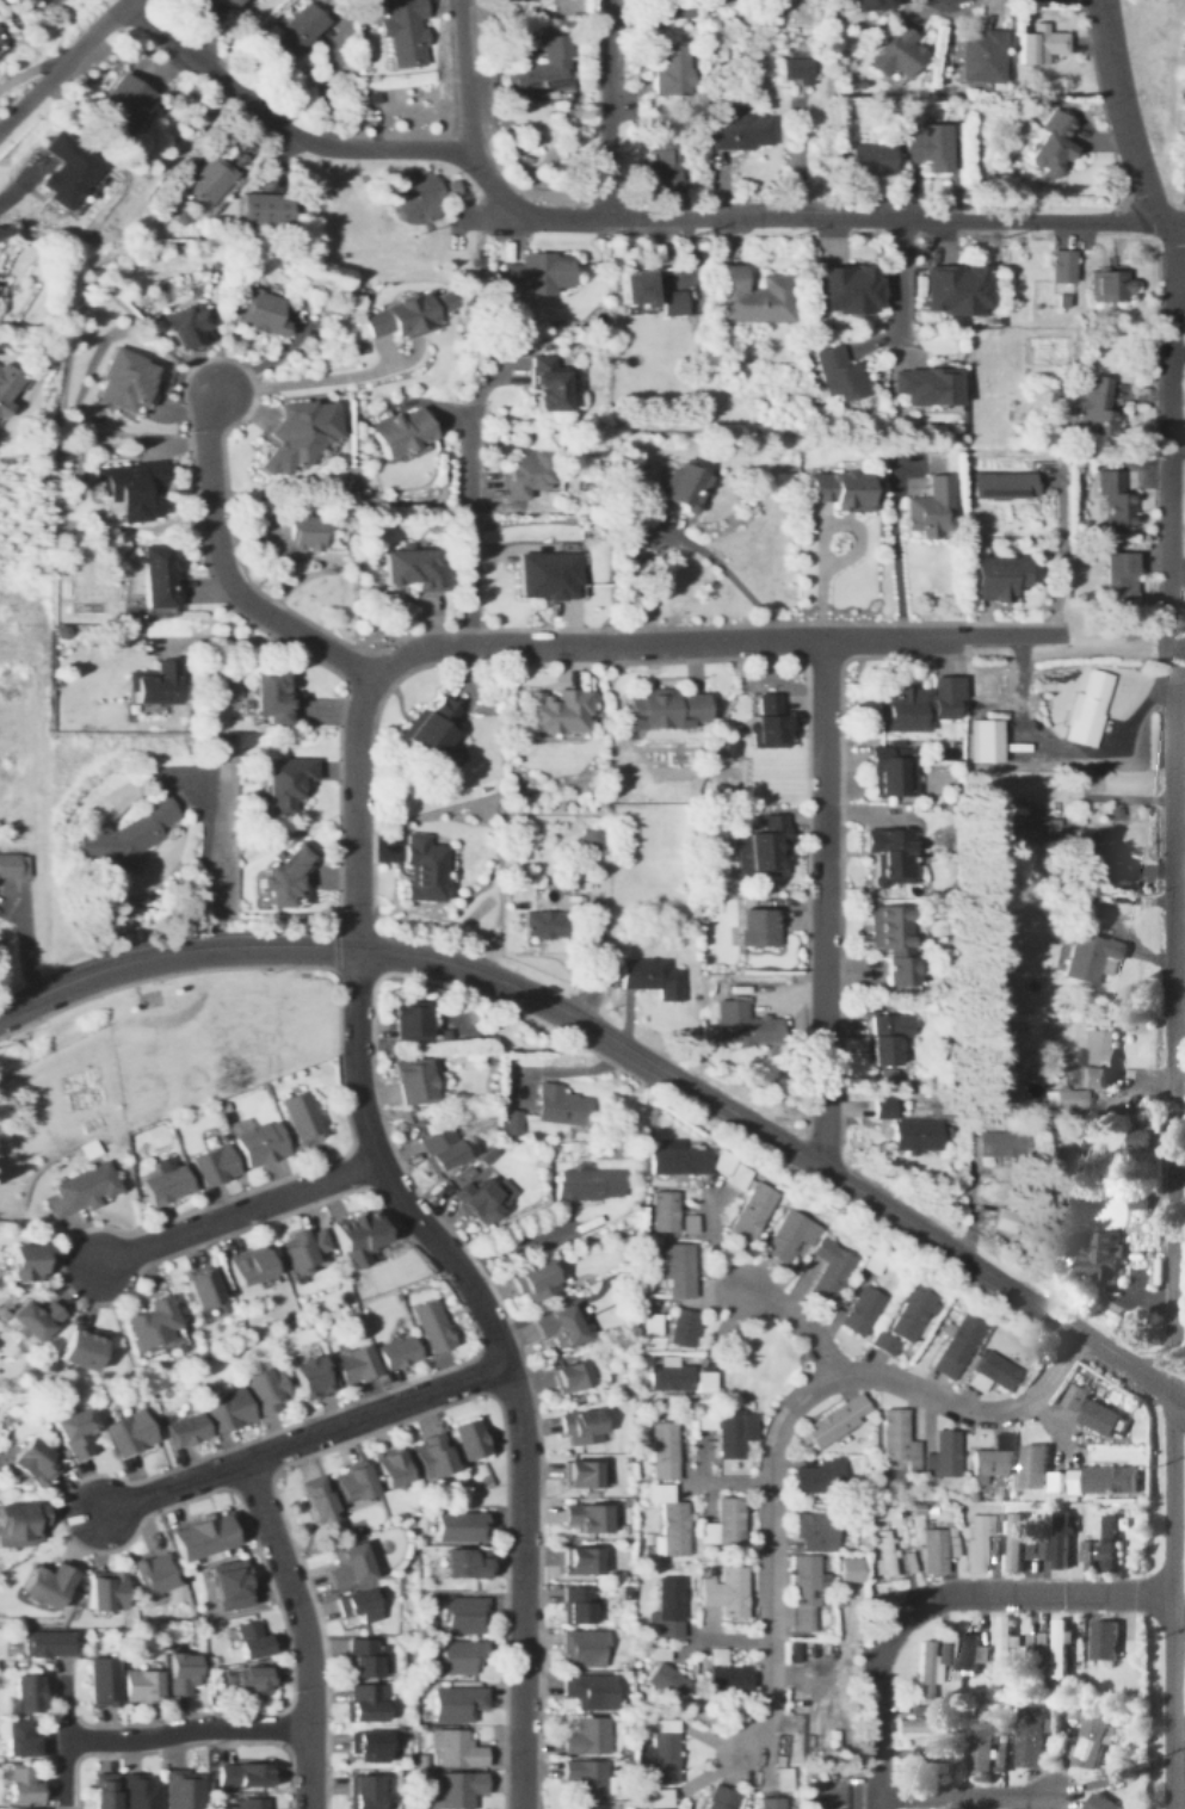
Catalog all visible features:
building: (536, 0)
building: (525, 1)
building: (226, 2)
building: (710, 2)
building: (872, 4)
building: (675, 10)
building: (295, 31)
building: (1, 33)
building: (403, 33)
building: (1041, 48)
building: (896, 55)
building: (982, 58)
road: (68, 64)
building: (794, 69)
building: (544, 72)
building: (672, 72)
road: (467, 79)
building: (119, 103)
road: (607, 110)
building: (742, 130)
building: (1050, 147)
building: (930, 148)
building: (871, 160)
building: (662, 167)
building: (64, 172)
building: (208, 183)
building: (420, 193)
building: (265, 211)
road: (609, 218)
road: (1173, 223)
building: (1062, 266)
building: (536, 274)
building: (1110, 288)
building: (632, 289)
road: (899, 289)
building: (843, 291)
building: (953, 291)
building: (752, 298)
building: (672, 303)
building: (258, 313)
building: (407, 316)
building: (183, 328)
building: (837, 376)
road: (309, 379)
building: (123, 382)
building: (6, 387)
building: (544, 387)
building: (924, 388)
building: (1093, 407)
building: (295, 433)
building: (399, 433)
building: (524, 475)
building: (993, 486)
building: (684, 488)
building: (128, 493)
building: (838, 493)
building: (1113, 501)
building: (927, 512)
road: (473, 527)
road: (821, 538)
building: (294, 539)
building: (331, 542)
road: (1062, 554)
road: (897, 562)
building: (411, 572)
road: (224, 573)
road: (729, 576)
building: (1117, 578)
building: (156, 579)
building: (544, 579)
building: (993, 581)
road: (232, 640)
road: (704, 643)
road: (1107, 653)
road: (1178, 662)
building: (155, 687)
building: (266, 698)
building: (909, 710)
building: (1086, 710)
building: (662, 711)
building: (554, 715)
building: (765, 722)
building: (428, 731)
building: (986, 743)
road: (1064, 747)
building: (887, 773)
building: (283, 784)
road: (356, 813)
building: (1030, 829)
building: (593, 836)
building: (126, 838)
building: (766, 850)
building: (888, 857)
building: (1099, 858)
building: (8, 866)
road: (206, 866)
building: (420, 871)
building: (283, 882)
road: (1172, 899)
road: (825, 904)
building: (553, 926)
building: (758, 930)
building: (891, 943)
building: (1090, 957)
building: (649, 978)
building: (408, 1020)
building: (743, 1025)
park: (210, 1037)
building: (881, 1041)
road: (627, 1048)
building: (1088, 1070)
building: (413, 1081)
building: (885, 1104)
building: (558, 1106)
building: (298, 1118)
building: (510, 1123)
building: (914, 1136)
building: (1140, 1137)
building: (257, 1144)
building: (1000, 1144)
building: (439, 1147)
building: (678, 1159)
building: (210, 1166)
building: (730, 1169)
building: (162, 1185)
building: (586, 1185)
building: (79, 1188)
building: (482, 1198)
building: (752, 1211)
road: (237, 1212)
building: (662, 1212)
building: (1004, 1220)
building: (687, 1224)
building: (788, 1235)
building: (353, 1236)
building: (301, 1251)
building: (1099, 1255)
building: (21, 1261)
building: (872, 1262)
building: (248, 1267)
building: (677, 1268)
building: (828, 1268)
building: (535, 1280)
building: (199, 1289)
road: (753, 1295)
building: (860, 1310)
building: (906, 1317)
building: (32, 1319)
building: (150, 1322)
building: (650, 1325)
building: (430, 1326)
building: (556, 1326)
building: (681, 1328)
building: (956, 1346)
building: (79, 1347)
building: (395, 1353)
road: (502, 1359)
building: (351, 1365)
building: (992, 1372)
building: (308, 1377)
building: (569, 1377)
building: (677, 1378)
building: (264, 1390)
building: (223, 1409)
building: (1091, 1412)
road: (790, 1414)
building: (705, 1420)
building: (834, 1421)
building: (581, 1427)
building: (181, 1430)
building: (73, 1432)
building: (733, 1432)
building: (125, 1433)
building: (896, 1439)
building: (467, 1440)
road: (302, 1441)
building: (664, 1451)
building: (940, 1455)
building: (430, 1456)
building: (992, 1457)
building: (31, 1462)
building: (1033, 1467)
building: (389, 1469)
building: (580, 1475)
building: (817, 1477)
building: (1103, 1481)
building: (350, 1484)
building: (314, 1499)
building: (584, 1518)
building: (667, 1520)
building: (721, 1524)
building: (20, 1525)
building: (458, 1527)
building: (814, 1531)
building: (199, 1537)
building: (1014, 1543)
building: (1056, 1543)
building: (975, 1545)
building: (1105, 1545)
building: (932, 1551)
building: (883, 1554)
building: (580, 1561)
building: (463, 1563)
building: (347, 1566)
building: (153, 1574)
building: (847, 1579)
building: (43, 1583)
building: (228, 1585)
building: (103, 1592)
building: (724, 1593)
building: (803, 1594)
road: (937, 1600)
building: (359, 1605)
building: (575, 1606)
building: (667, 1607)
building: (463, 1616)
road: (1178, 1619)
road: (304, 1630)
building: (249, 1638)
building: (1104, 1641)
building: (47, 1643)
building: (1005, 1647)
building: (582, 1649)
building: (1059, 1649)
building: (964, 1653)
building: (360, 1657)
building: (461, 1657)
building: (925, 1668)
road: (1177, 1672)
building: (180, 1674)
building: (727, 1678)
building: (251, 1680)
building: (100, 1681)
building: (665, 1681)
building: (138, 1685)
building: (587, 1690)
building: (23, 1694)
building: (363, 1703)
building: (456, 1703)
building: (924, 1727)
road: (186, 1729)
building: (585, 1736)
building: (1027, 1736)
building: (19, 1739)
building: (1090, 1739)
building: (368, 1746)
building: (456, 1748)
building: (979, 1749)
building: (665, 1751)
building: (918, 1758)
building: (939, 1767)
building: (242, 1774)
road: (1178, 1774)
building: (584, 1776)
building: (785, 1777)
building: (20, 1784)
building: (363, 1789)
building: (455, 1789)
building: (183, 1790)
building: (101, 1791)
building: (138, 1792)
road: (964, 1796)
building: (659, 1798)
building: (720, 1798)
building: (853, 1799)
building: (769, 1802)
building: (1100, 1803)
building: (251, 1804)
building: (591, 1805)
building: (32, 1808)
building: (672, 1808)

